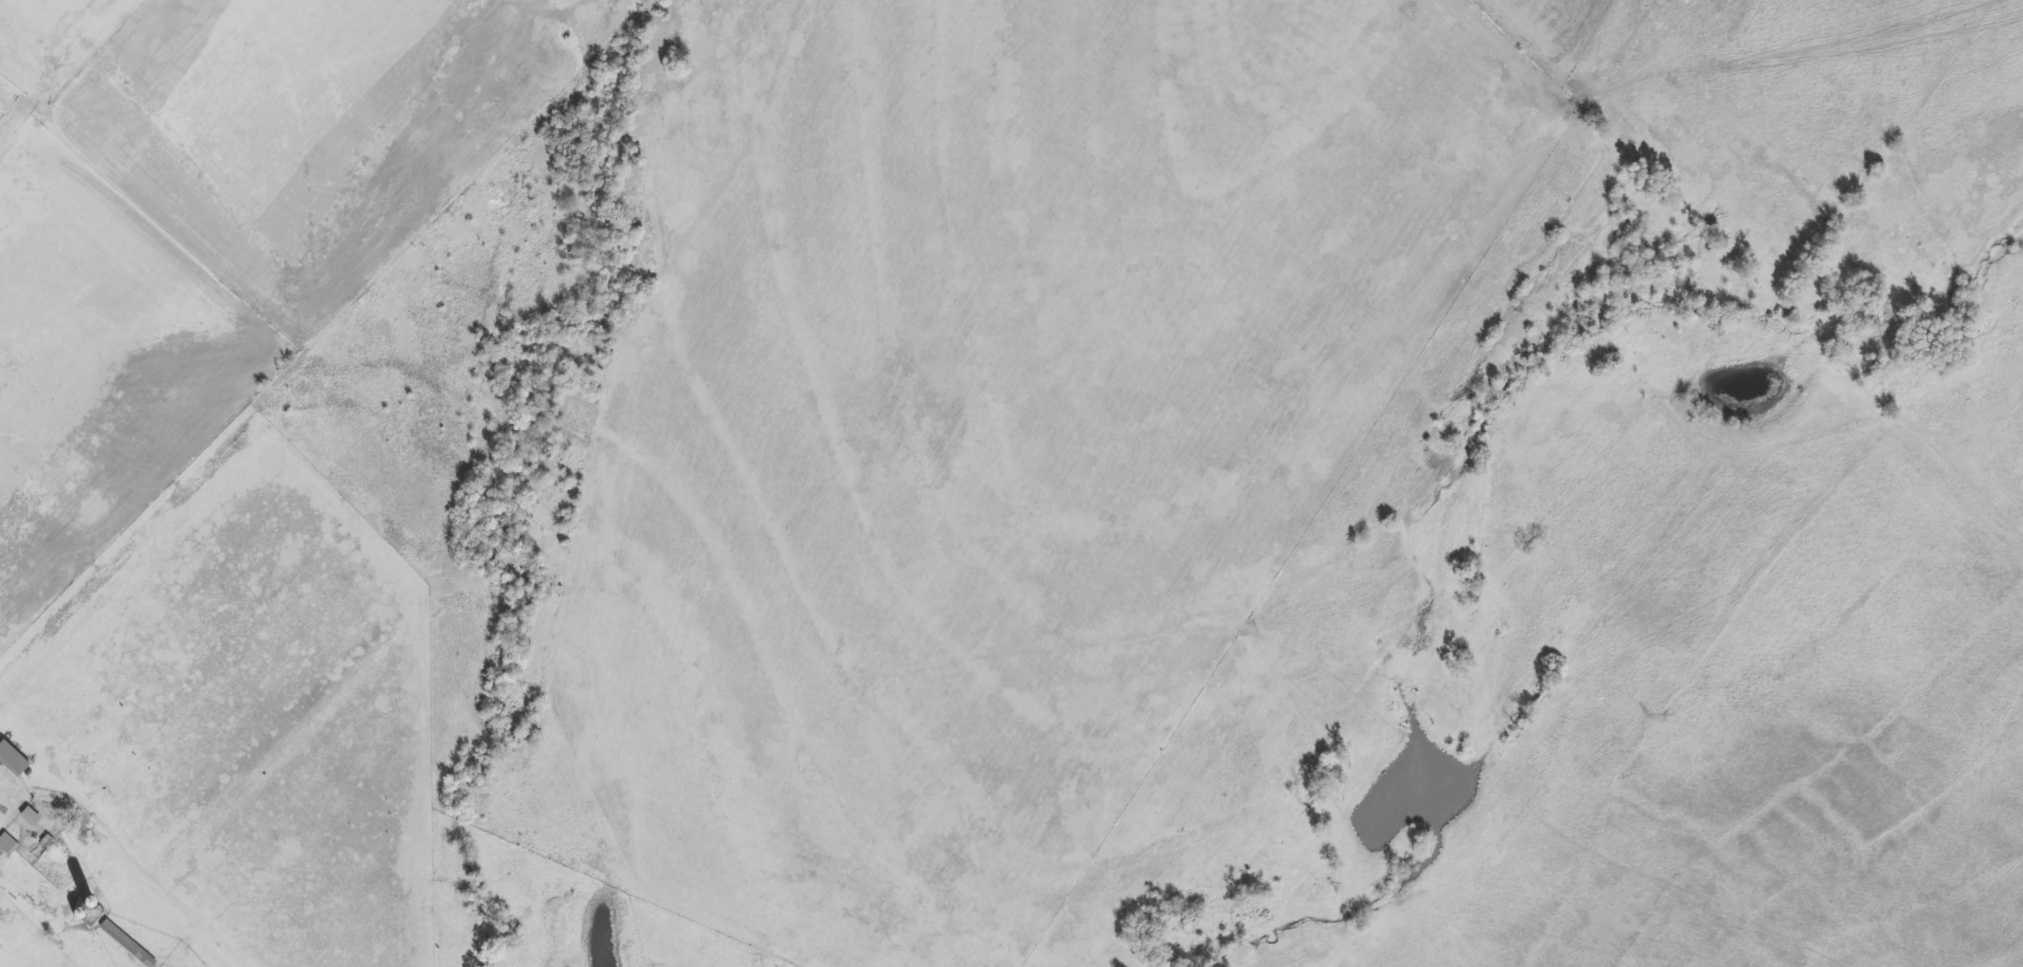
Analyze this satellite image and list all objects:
building: (12, 758)
building: (6, 843)
building: (126, 943)

